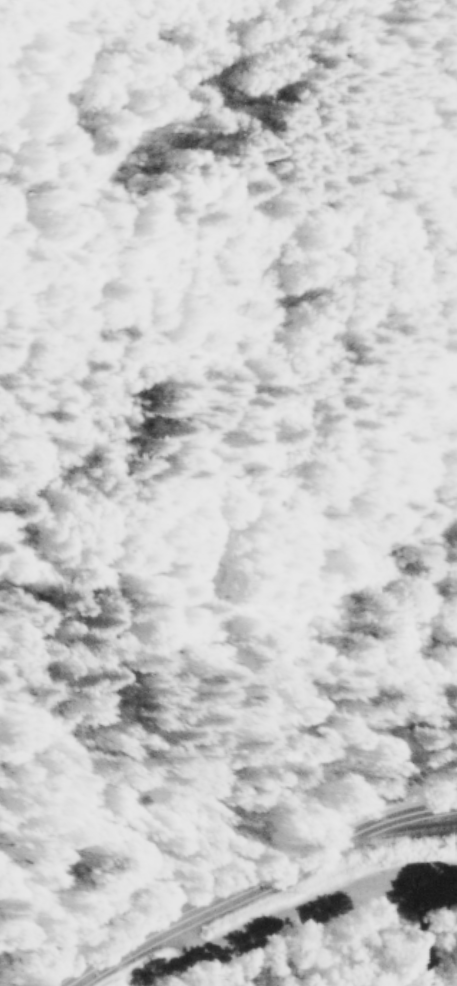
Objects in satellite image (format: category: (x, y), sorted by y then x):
railway: (232, 876)
road: (256, 885)
road: (294, 913)

